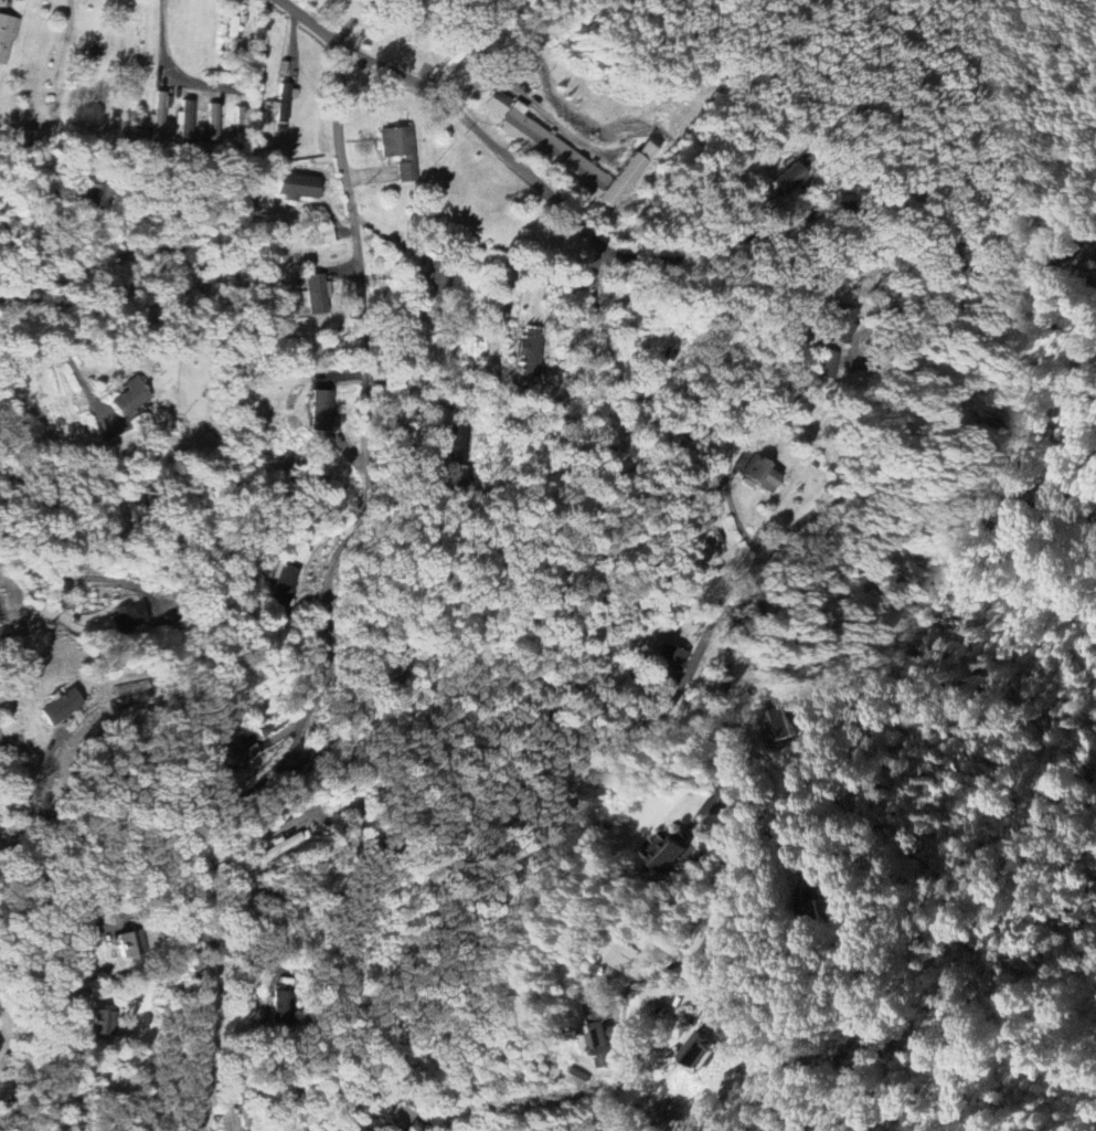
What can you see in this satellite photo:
building: (8, 35)
road: (167, 67)
road: (529, 102)
building: (284, 103)
building: (185, 121)
building: (402, 150)
building: (564, 151)
building: (787, 178)
building: (298, 187)
building: (62, 194)
building: (97, 195)
road: (957, 255)
road: (1039, 264)
building: (432, 290)
building: (316, 294)
road: (25, 298)
road: (1023, 309)
building: (532, 352)
road: (71, 362)
road: (440, 362)
building: (829, 363)
building: (131, 397)
building: (322, 411)
building: (457, 443)
building: (757, 472)
road: (71, 575)
building: (284, 585)
road: (330, 607)
building: (127, 617)
building: (670, 665)
building: (63, 707)
building: (783, 726)
building: (227, 755)
building: (671, 852)
road: (65, 871)
building: (128, 943)
building: (629, 956)
building: (281, 1003)
building: (102, 1022)
building: (704, 1050)
building: (409, 1129)

